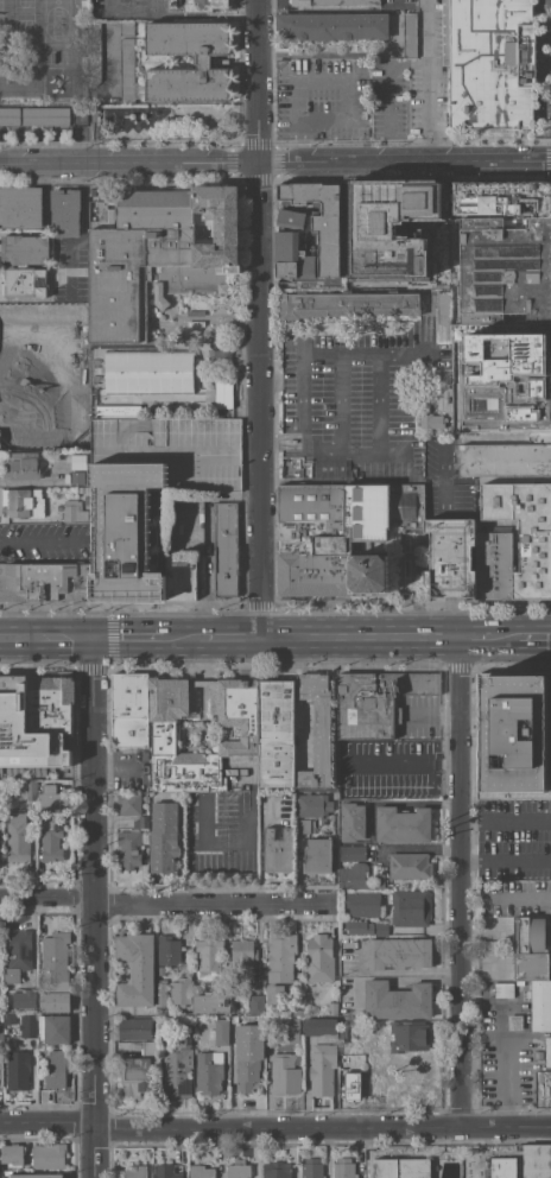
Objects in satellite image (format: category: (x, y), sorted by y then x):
road: (392, 0)
building: (332, 2)
building: (197, 5)
road: (178, 13)
building: (331, 25)
building: (127, 27)
building: (408, 34)
building: (94, 52)
building: (204, 58)
building: (489, 62)
building: (127, 69)
road: (429, 80)
parking lot: (417, 83)
road: (392, 95)
parking lot: (325, 100)
building: (9, 115)
building: (45, 115)
road: (348, 119)
park: (170, 121)
road: (302, 140)
road: (275, 161)
building: (502, 198)
building: (20, 207)
building: (65, 211)
building: (286, 237)
building: (24, 249)
building: (158, 253)
building: (71, 255)
building: (505, 271)
building: (24, 281)
building: (348, 303)
building: (443, 316)
road: (258, 317)
road: (365, 351)
building: (488, 374)
road: (97, 376)
building: (435, 405)
building: (541, 435)
building: (505, 460)
building: (21, 465)
building: (76, 477)
building: (498, 479)
building: (87, 499)
building: (23, 502)
building: (74, 511)
building: (122, 531)
building: (525, 531)
building: (342, 534)
road: (33, 541)
building: (226, 547)
building: (450, 557)
building: (494, 565)
building: (180, 577)
building: (45, 581)
road: (46, 634)
traffic signals: (93, 634)
road: (127, 634)
road: (180, 635)
road: (229, 635)
road: (360, 638)
road: (506, 638)
road: (536, 638)
road: (476, 639)
building: (376, 701)
building: (12, 703)
building: (49, 703)
building: (128, 710)
road: (433, 714)
building: (316, 729)
building: (240, 731)
building: (275, 731)
building: (300, 734)
building: (513, 735)
road: (446, 761)
road: (393, 762)
building: (30, 790)
building: (52, 797)
building: (128, 804)
building: (313, 804)
building: (0, 818)
building: (321, 819)
road: (505, 819)
building: (141, 821)
building: (351, 822)
building: (403, 824)
building: (304, 825)
building: (18, 836)
building: (163, 836)
building: (51, 838)
building: (131, 845)
road: (418, 848)
building: (277, 849)
building: (351, 851)
building: (317, 855)
road: (505, 860)
building: (408, 864)
building: (357, 876)
road: (457, 882)
road: (518, 897)
building: (362, 902)
road: (165, 905)
road: (94, 906)
building: (408, 907)
building: (367, 927)
building: (531, 948)
building: (169, 950)
building: (398, 952)
building: (18, 954)
building: (208, 956)
building: (242, 957)
building: (281, 957)
building: (319, 958)
building: (55, 961)
building: (134, 968)
building: (160, 969)
building: (503, 989)
building: (179, 990)
building: (160, 992)
building: (24, 996)
building: (281, 999)
building: (397, 1000)
building: (53, 1001)
building: (208, 1003)
building: (255, 1005)
building: (540, 1006)
building: (332, 1008)
building: (9, 1019)
building: (165, 1021)
building: (515, 1021)
building: (27, 1026)
building: (319, 1026)
building: (53, 1028)
building: (134, 1028)
building: (289, 1030)
building: (1, 1031)
building: (221, 1031)
building: (342, 1032)
building: (405, 1035)
building: (235, 1037)
building: (271, 1041)
building: (148, 1047)
building: (547, 1051)
building: (538, 1054)
building: (379, 1058)
building: (343, 1062)
building: (372, 1065)
road: (507, 1065)
building: (56, 1068)
building: (177, 1068)
building: (322, 1068)
building: (17, 1069)
building: (208, 1071)
building: (285, 1072)
building: (247, 1073)
building: (135, 1076)
building: (32, 1079)
building: (414, 1084)
building: (353, 1085)
building: (375, 1087)
building: (543, 1088)
road: (274, 1128)
road: (327, 1153)
road: (359, 1153)
road: (367, 1153)
building: (12, 1154)
building: (47, 1155)
building: (537, 1160)
building: (400, 1167)
building: (500, 1167)
building: (237, 1168)
building: (311, 1168)
building: (343, 1168)
building: (275, 1170)
building: (134, 1171)
building: (164, 1171)
building: (201, 1171)
building: (17, 1174)

